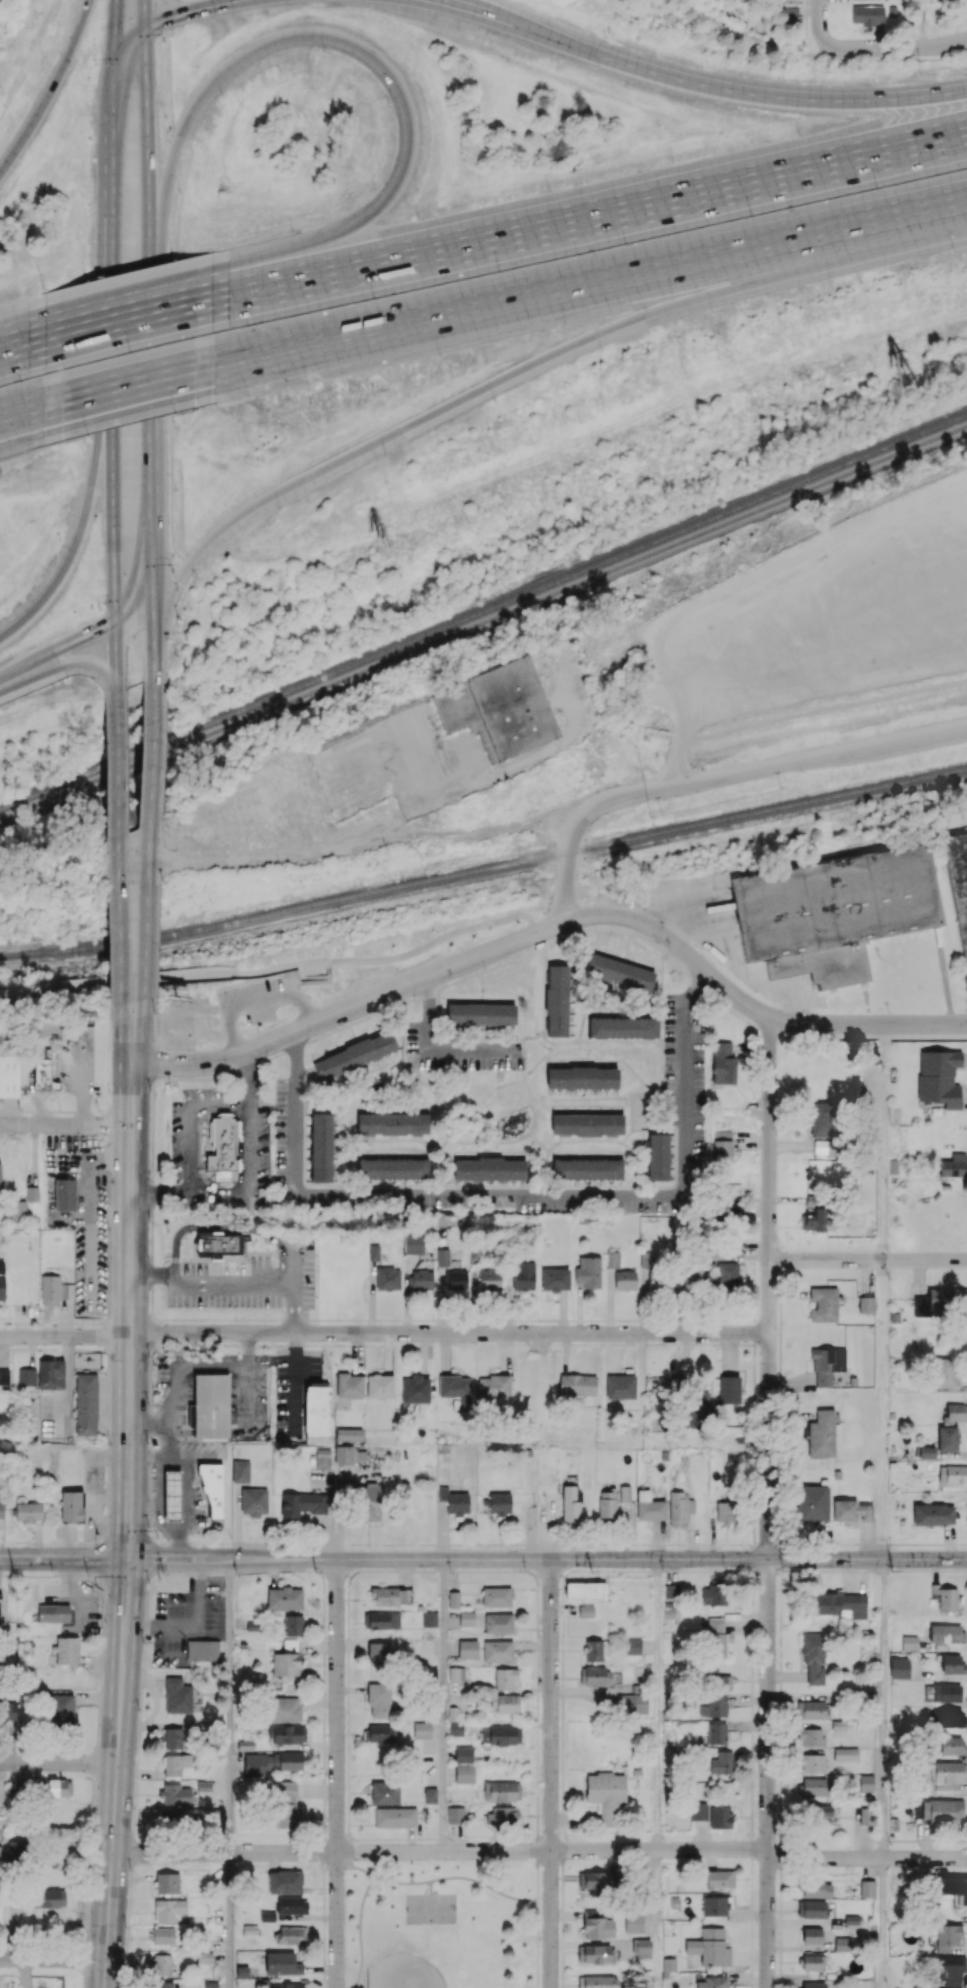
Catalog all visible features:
road: (185, 12)
road: (143, 13)
building: (868, 14)
building: (776, 15)
road: (492, 16)
road: (819, 16)
traffic signals: (170, 17)
traffic signals: (115, 21)
road: (114, 25)
road: (304, 35)
street lamp: (605, 36)
road: (127, 37)
street lamp: (164, 41)
road: (891, 47)
street lamp: (323, 52)
traffic signals: (145, 61)
street lamp: (93, 64)
street lamp: (708, 67)
street lamp: (44, 70)
road: (160, 74)
street lamp: (920, 75)
street lamp: (816, 80)
road: (50, 88)
road: (755, 93)
street lamp: (222, 95)
street lamp: (387, 105)
street lamp: (167, 116)
road: (112, 133)
street lamp: (798, 134)
street lamp: (89, 138)
road: (147, 142)
street lamp: (672, 160)
street lamp: (374, 187)
street lamp: (876, 188)
street lamp: (548, 189)
street lamp: (181, 191)
road: (175, 199)
street lamp: (88, 205)
street lamp: (750, 215)
street lamp: (417, 217)
road: (589, 217)
street lamp: (291, 230)
road: (800, 238)
street lamp: (625, 243)
road: (112, 246)
street lamp: (952, 251)
road: (273, 253)
street lamp: (174, 260)
road: (148, 263)
street lamp: (497, 271)
street lamp: (88, 282)
street lamp: (828, 282)
road: (128, 292)
street lamp: (373, 298)
street lamp: (711, 311)
road: (127, 318)
road: (423, 318)
road: (22, 323)
street lamp: (247, 324)
street lamp: (564, 328)
road: (423, 332)
road: (170, 336)
road: (148, 342)
road: (22, 344)
street lamp: (600, 348)
street lamp: (129, 350)
road: (112, 351)
street lamp: (438, 356)
road: (504, 377)
street lamp: (19, 380)
road: (128, 382)
street lamp: (306, 385)
street lamp: (493, 400)
road: (128, 409)
road: (22, 410)
street lamp: (174, 412)
street lamp: (176, 426)
road: (148, 428)
street lamp: (86, 433)
road: (22, 438)
street lamp: (81, 453)
street lamp: (383, 455)
street lamp: (175, 489)
road: (171, 491)
road: (149, 503)
street lamp: (278, 509)
street lamp: (94, 524)
street lamp: (59, 540)
road: (75, 544)
road: (113, 560)
street lamp: (171, 569)
street lamp: (196, 585)
traffic signals: (114, 586)
street lamp: (98, 608)
traffic signals: (151, 611)
street lamp: (6, 612)
road: (179, 612)
railway: (483, 613)
road: (151, 623)
railway: (483, 623)
traffic signals: (101, 626)
road: (84, 634)
road: (64, 662)
street lamp: (67, 679)
street lamp: (95, 692)
building: (498, 708)
road: (164, 747)
road: (151, 751)
road: (805, 758)
road: (117, 765)
road: (575, 836)
road: (148, 855)
road: (166, 855)
road: (273, 857)
road: (118, 864)
railway: (484, 870)
building: (958, 883)
building: (833, 911)
road: (554, 928)
road: (540, 931)
road: (145, 941)
road: (157, 943)
road: (119, 947)
building: (54, 950)
road: (271, 971)
building: (619, 972)
building: (557, 1000)
building: (480, 1013)
road: (743, 1016)
road: (356, 1023)
building: (623, 1027)
road: (140, 1031)
road: (122, 1034)
road: (291, 1035)
road: (155, 1042)
road: (435, 1045)
building: (353, 1055)
building: (723, 1063)
road: (530, 1068)
building: (43, 1075)
building: (9, 1076)
road: (248, 1077)
building: (582, 1077)
building: (939, 1077)
road: (253, 1109)
building: (821, 1118)
building: (392, 1123)
road: (65, 1124)
building: (587, 1124)
road: (884, 1141)
building: (722, 1145)
building: (222, 1147)
building: (321, 1147)
building: (658, 1156)
building: (953, 1165)
building: (392, 1168)
building: (489, 1169)
building: (587, 1169)
road: (161, 1191)
building: (32, 1193)
building: (65, 1194)
road: (543, 1195)
road: (152, 1210)
building: (16, 1211)
road: (90, 1212)
road: (110, 1215)
building: (817, 1215)
road: (227, 1226)
building: (217, 1243)
building: (413, 1243)
building: (374, 1252)
street lamp: (189, 1256)
building: (442, 1257)
building: (612, 1259)
building: (646, 1259)
road: (867, 1259)
road: (292, 1262)
building: (588, 1271)
road: (153, 1275)
building: (727, 1275)
building: (524, 1276)
building: (388, 1278)
building: (422, 1279)
building: (489, 1279)
building: (555, 1279)
building: (455, 1280)
building: (625, 1280)
building: (658, 1280)
building: (693, 1280)
road: (232, 1283)
building: (1, 1287)
building: (54, 1289)
building: (941, 1301)
building: (823, 1304)
building: (866, 1304)
road: (293, 1308)
road: (384, 1333)
road: (247, 1348)
road: (212, 1363)
building: (827, 1364)
building: (946, 1373)
building: (51, 1374)
building: (26, 1376)
building: (4, 1377)
building: (577, 1384)
building: (349, 1385)
building: (380, 1386)
building: (620, 1386)
building: (415, 1389)
building: (493, 1389)
building: (729, 1389)
building: (456, 1390)
building: (86, 1404)
building: (211, 1405)
building: (699, 1407)
road: (884, 1409)
building: (317, 1410)
building: (954, 1412)
road: (147, 1426)
building: (822, 1433)
building: (349, 1434)
building: (947, 1438)
road: (166, 1443)
building: (926, 1452)
building: (344, 1454)
road: (199, 1455)
building: (323, 1458)
building: (240, 1471)
building: (952, 1474)
building: (212, 1490)
road: (186, 1493)
building: (625, 1493)
building: (171, 1495)
building: (254, 1501)
building: (454, 1501)
building: (369, 1502)
road: (768, 1502)
building: (499, 1503)
building: (812, 1503)
building: (302, 1504)
building: (570, 1505)
building: (607, 1505)
building: (71, 1506)
building: (649, 1506)
building: (1, 1510)
building: (680, 1511)
building: (725, 1511)
building: (851, 1511)
building: (28, 1512)
building: (933, 1514)
road: (129, 1526)
road: (180, 1543)
traffic signals: (128, 1559)
road: (483, 1559)
building: (585, 1590)
building: (671, 1590)
building: (713, 1594)
building: (388, 1595)
building: (497, 1596)
building: (284, 1597)
building: (945, 1597)
building: (453, 1599)
building: (839, 1604)
building: (60, 1612)
building: (429, 1618)
building: (467, 1618)
building: (381, 1620)
building: (498, 1623)
building: (293, 1625)
building: (946, 1633)
building: (715, 1637)
building: (909, 1643)
building: (633, 1646)
building: (468, 1649)
building: (596, 1649)
building: (66, 1650)
building: (203, 1650)
building: (497, 1650)
building: (378, 1653)
building: (814, 1656)
building: (952, 1664)
building: (456, 1674)
building: (595, 1676)
building: (505, 1678)
building: (718, 1682)
building: (947, 1692)
building: (178, 1696)
building: (379, 1700)
building: (506, 1702)
building: (632, 1703)
road: (230, 1705)
road: (443, 1705)
road: (657, 1705)
building: (714, 1706)
building: (60, 1709)
building: (284, 1709)
building: (810, 1709)
road: (883, 1709)
building: (8, 1711)
building: (948, 1718)
building: (455, 1728)
building: (422, 1729)
building: (287, 1733)
building: (380, 1733)
building: (717, 1733)
building: (501, 1735)
building: (811, 1736)
building: (173, 1738)
building: (952, 1745)
building: (846, 1753)
building: (463, 1754)
road: (59, 1762)
building: (273, 1762)
building: (722, 1762)
building: (812, 1762)
building: (176, 1764)
building: (950, 1771)
road: (337, 1773)
building: (464, 1773)
road: (551, 1774)
building: (866, 1783)
building: (812, 1786)
building: (56, 1787)
building: (501, 1791)
building: (384, 1792)
building: (175, 1794)
building: (606, 1795)
building: (286, 1804)
building: (942, 1810)
building: (697, 1811)
building: (819, 1813)
building: (501, 1814)
building: (720, 1816)
building: (865, 1816)
building: (395, 1817)
building: (170, 1820)
building: (16, 1848)
road: (540, 1851)
building: (720, 1878)
road: (437, 1880)
building: (597, 1880)
building: (285, 1881)
building: (167, 1883)
building: (817, 1888)
building: (867, 1888)
building: (954, 1888)
building: (49, 1897)
building: (292, 1905)
building: (715, 1905)
building: (812, 1908)
building: (169, 1909)
park: (430, 1910)
building: (11, 1915)
road: (538, 1919)
road: (658, 1919)
road: (229, 1920)
building: (633, 1922)
road: (882, 1923)
park: (441, 1924)
building: (597, 1925)
road: (360, 1931)
building: (163, 1935)
building: (292, 1935)
building: (811, 1935)
building: (948, 1937)
building: (842, 1944)
building: (710, 1947)
building: (642, 1948)
building: (596, 1954)
building: (204, 1957)
road: (53, 1959)
park: (428, 1960)
building: (813, 1962)
building: (282, 1963)
building: (160, 1964)
building: (668, 1965)
building: (953, 1970)
building: (597, 1981)
building: (712, 1982)
building: (161, 1984)
building: (812, 1984)
building: (289, 1985)

